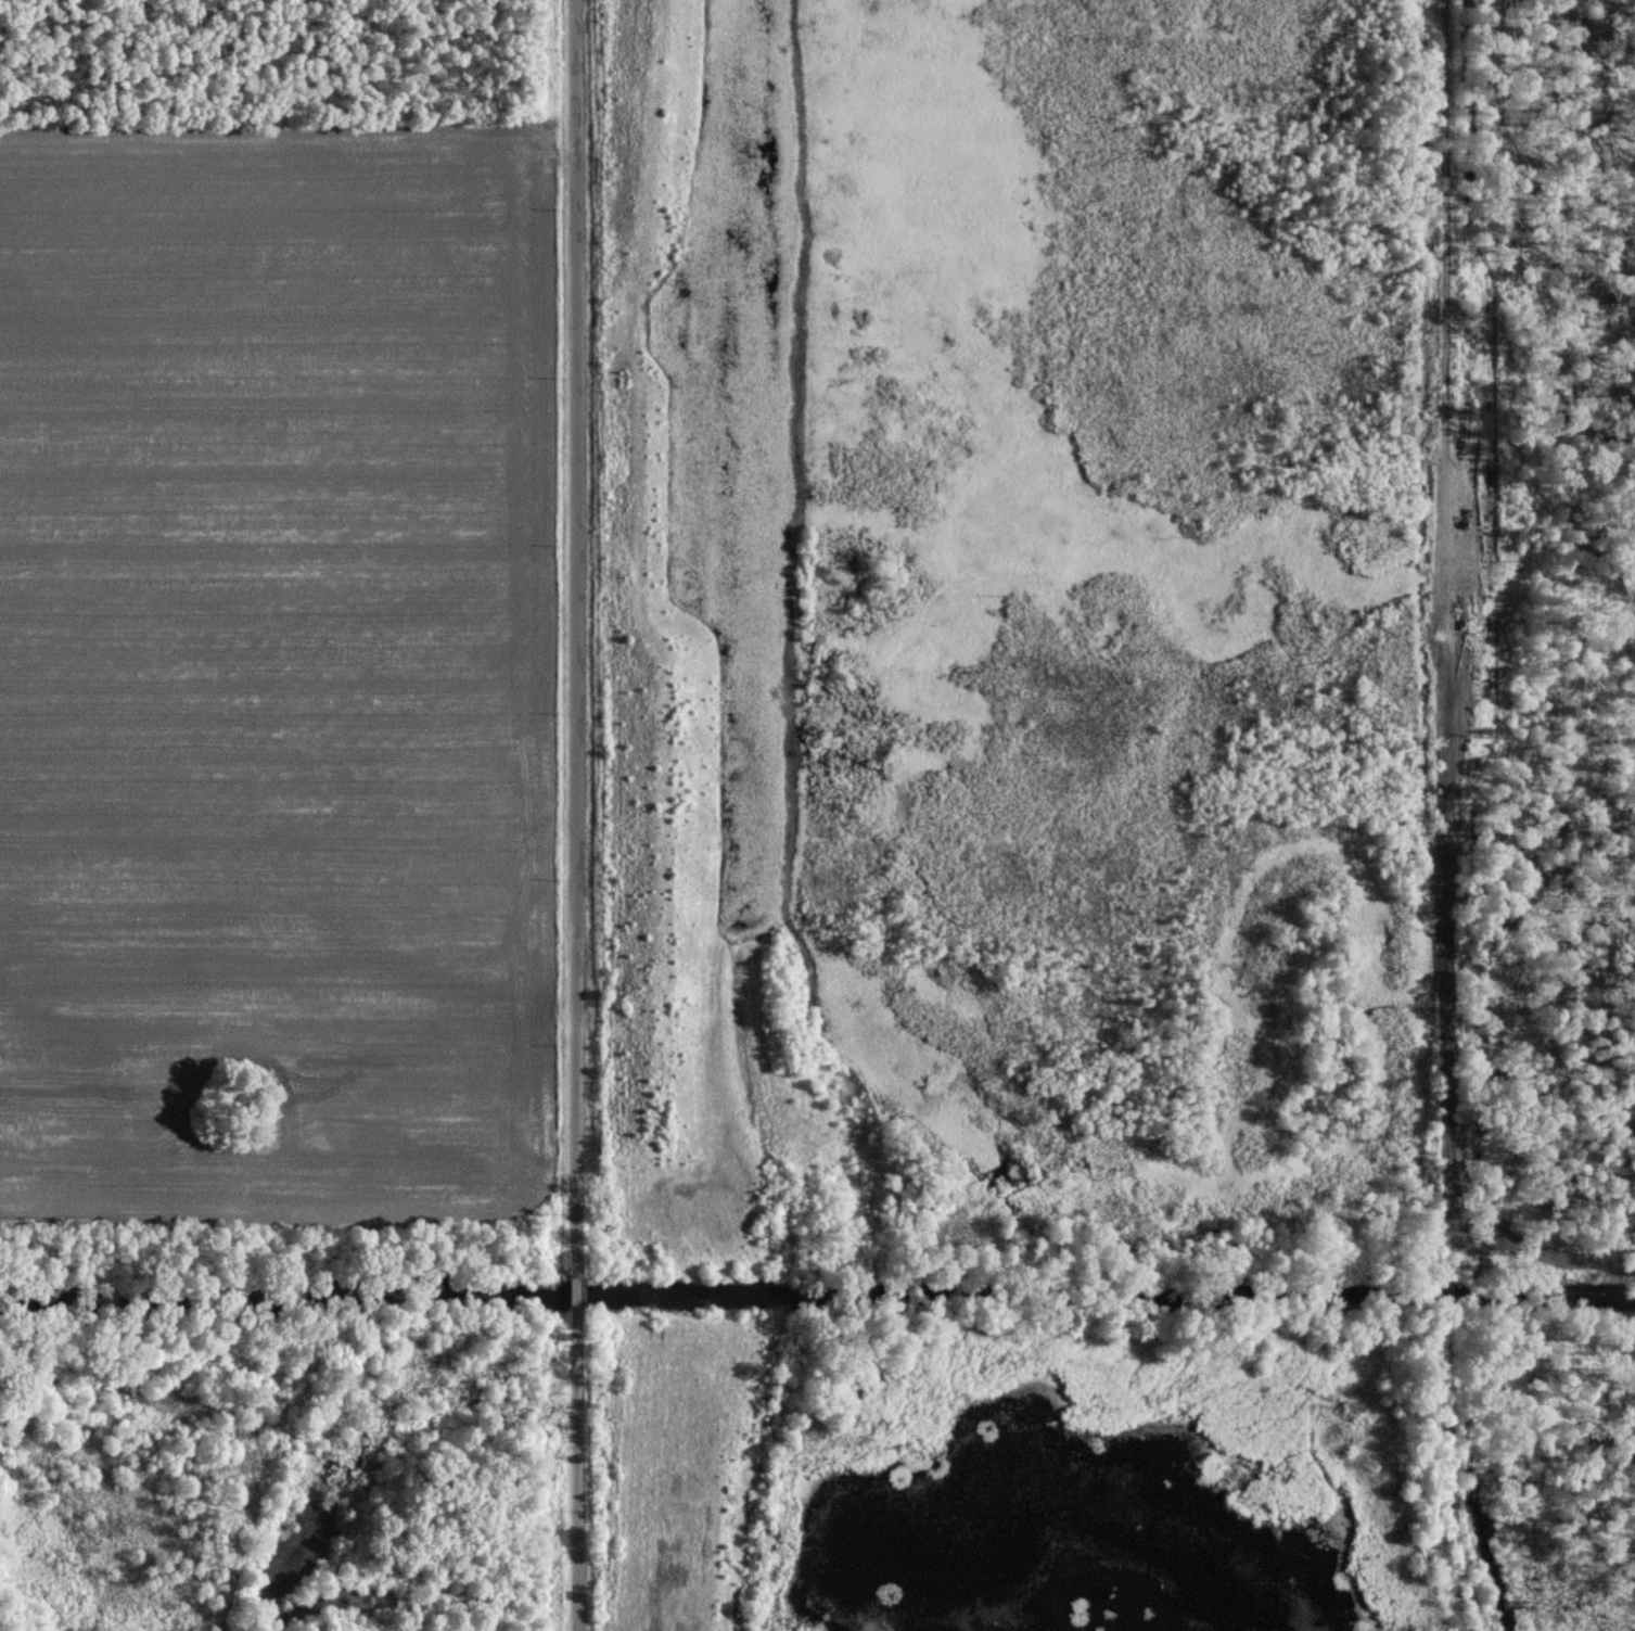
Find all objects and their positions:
road: (579, 634)
road: (579, 1290)
road: (580, 1471)

